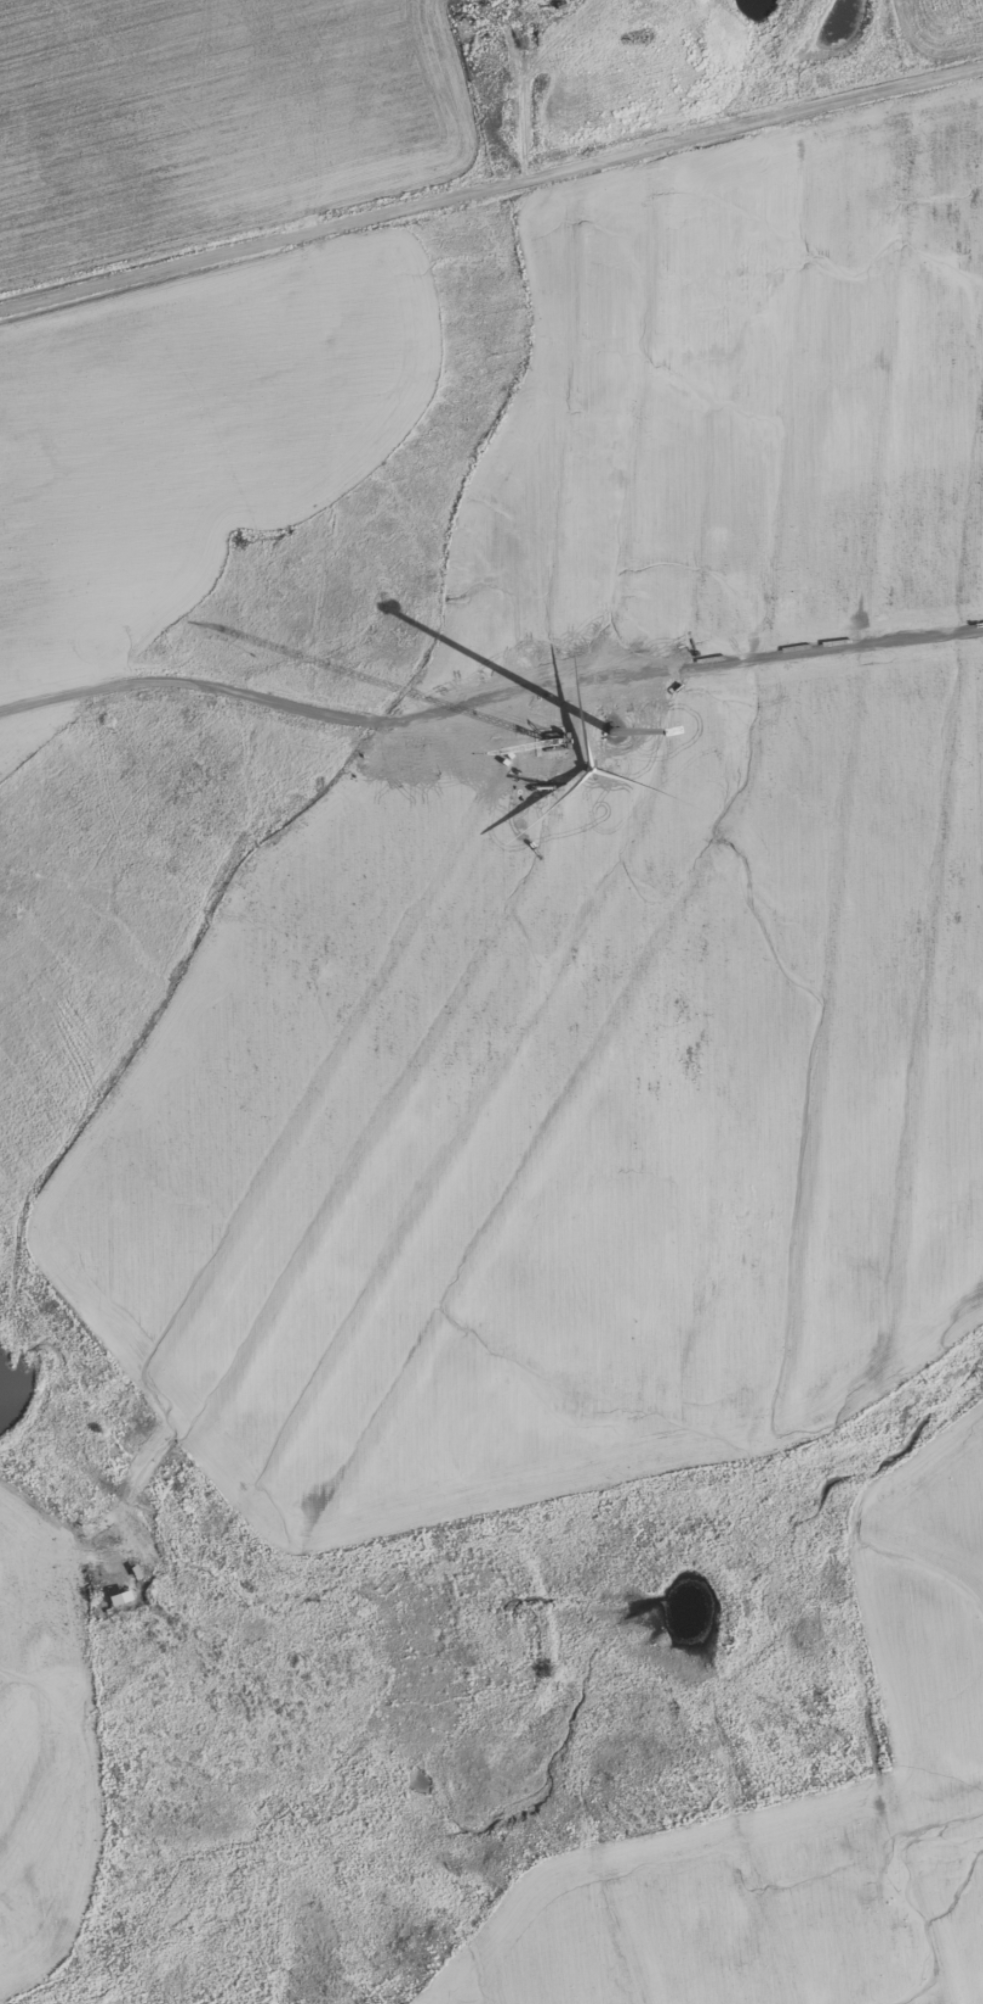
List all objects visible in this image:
road: (491, 184)
wind turbine: (612, 732)

